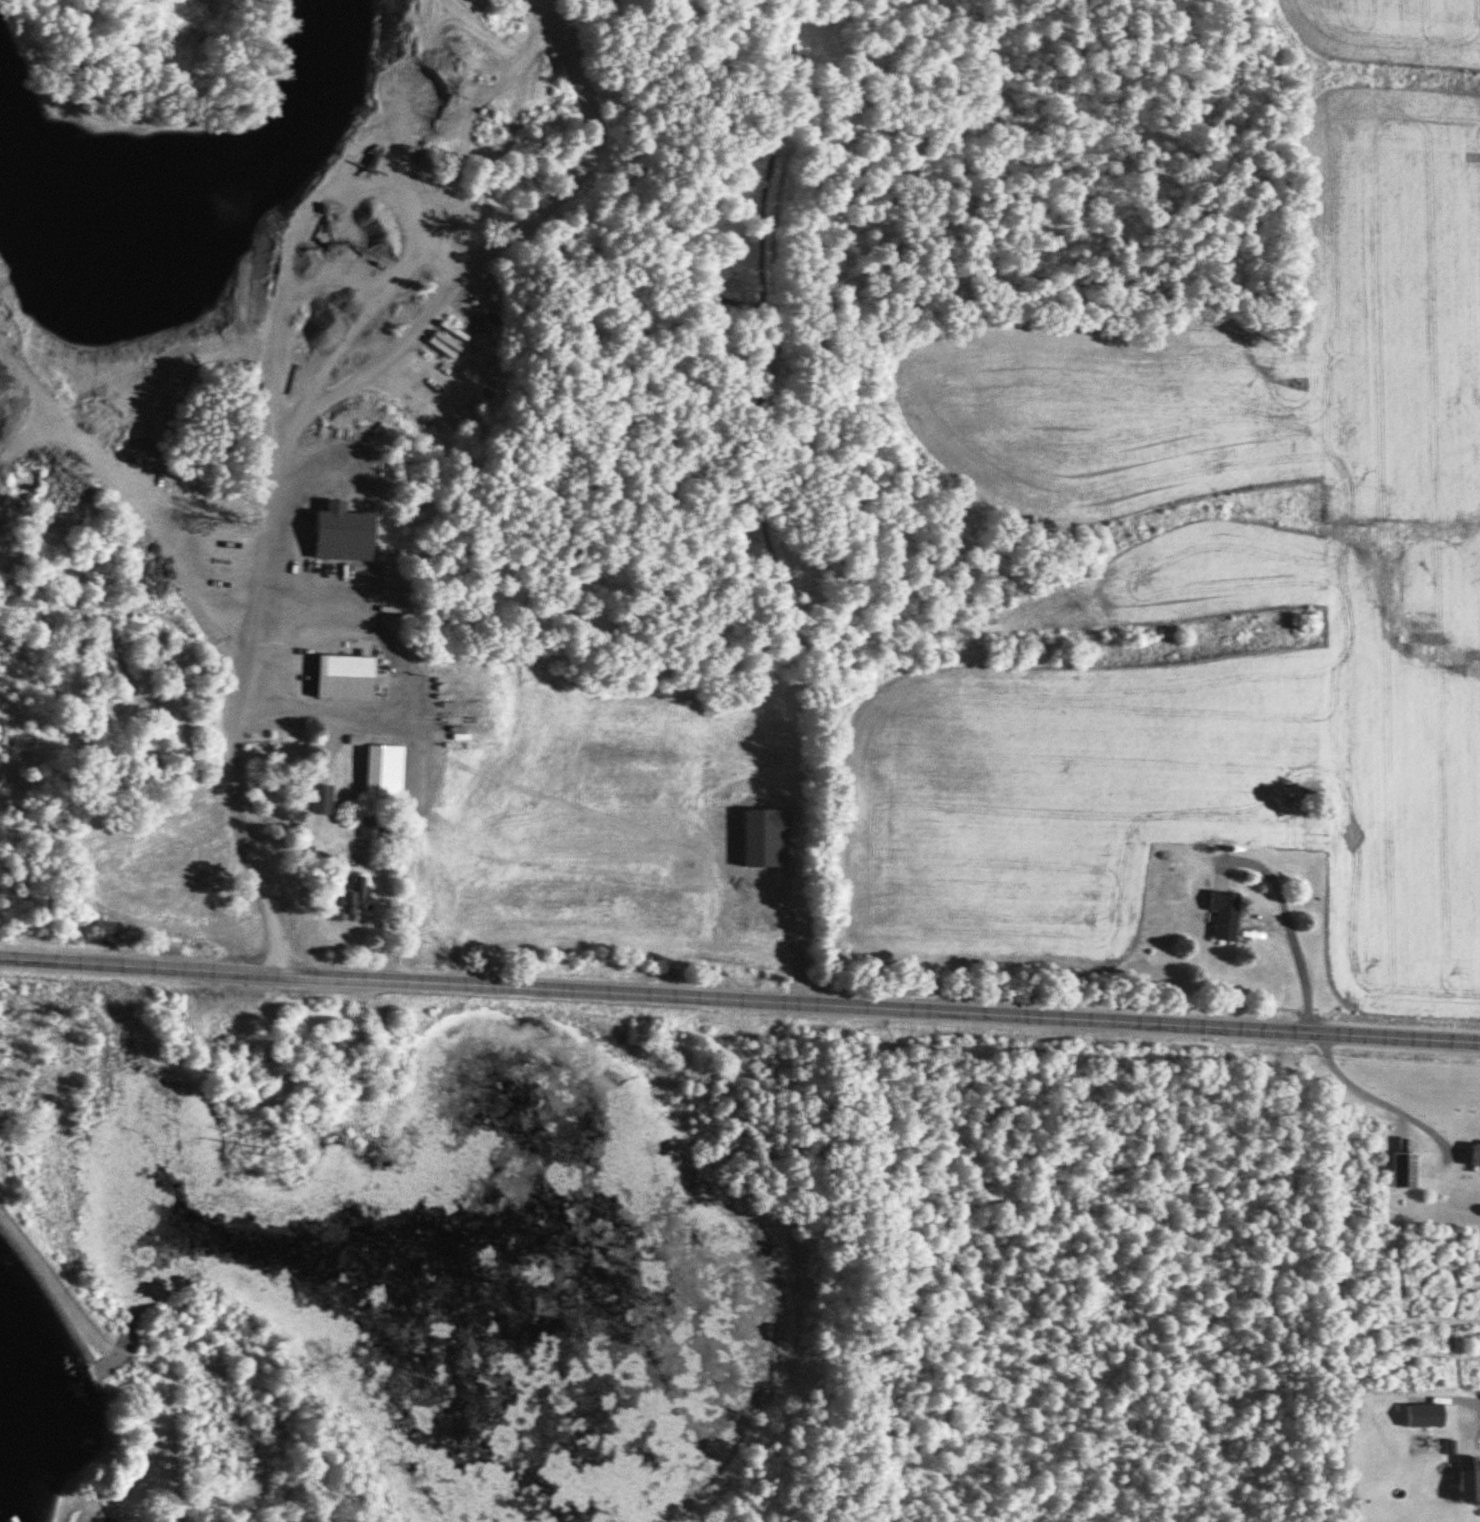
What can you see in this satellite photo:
building: (381, 186)
road: (266, 395)
road: (120, 501)
building: (343, 676)
road: (337, 714)
building: (383, 771)
building: (319, 799)
building: (369, 827)
road: (344, 858)
building: (355, 896)
building: (1222, 915)
road: (1284, 918)
road: (740, 992)
road: (1388, 1101)
building: (1475, 1154)
road: (49, 1274)
road: (1473, 1420)
building: (1468, 1479)
building: (106, 1521)

